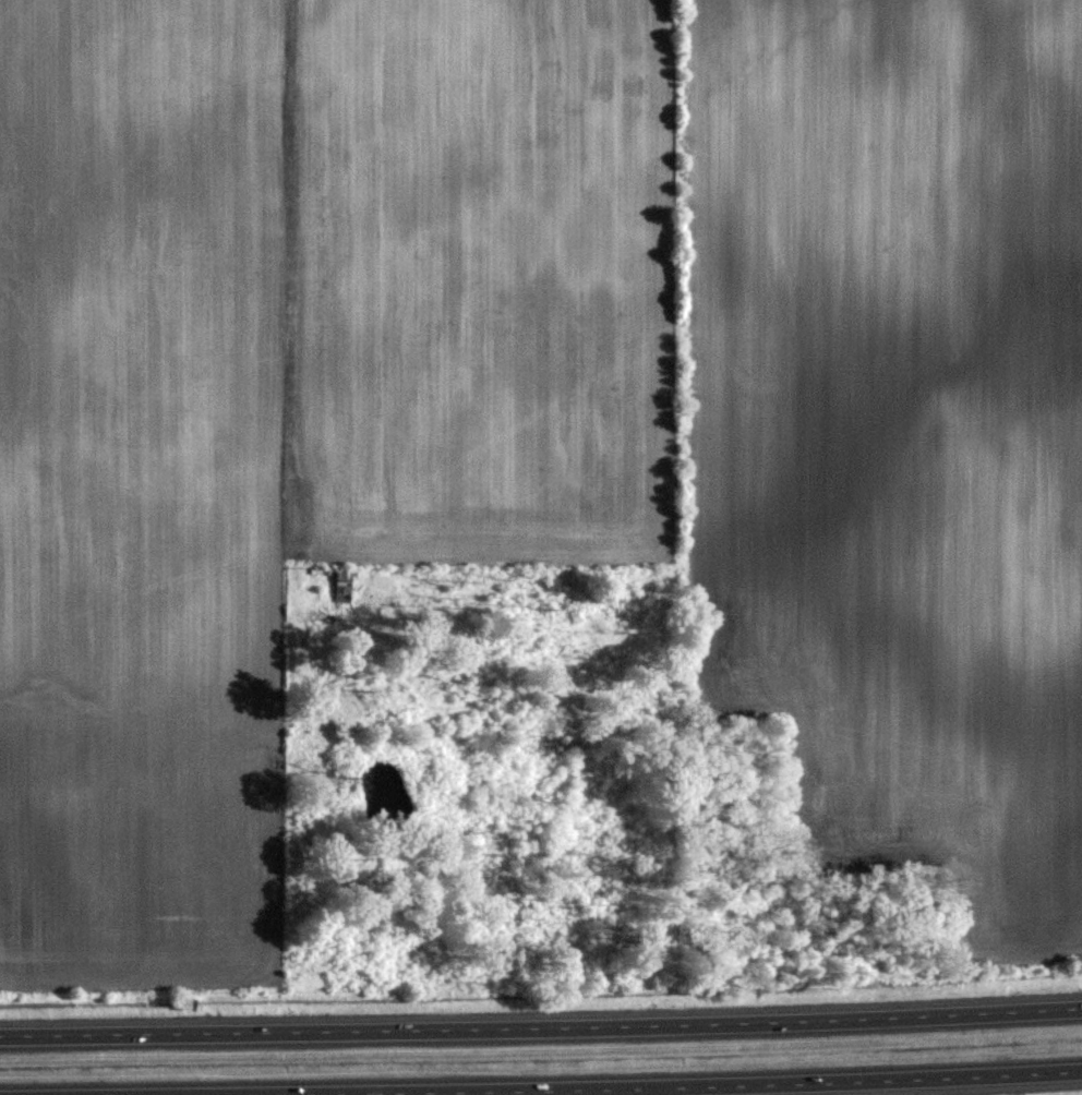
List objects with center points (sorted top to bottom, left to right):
building: (344, 581)
road: (541, 1028)
road: (651, 1084)

